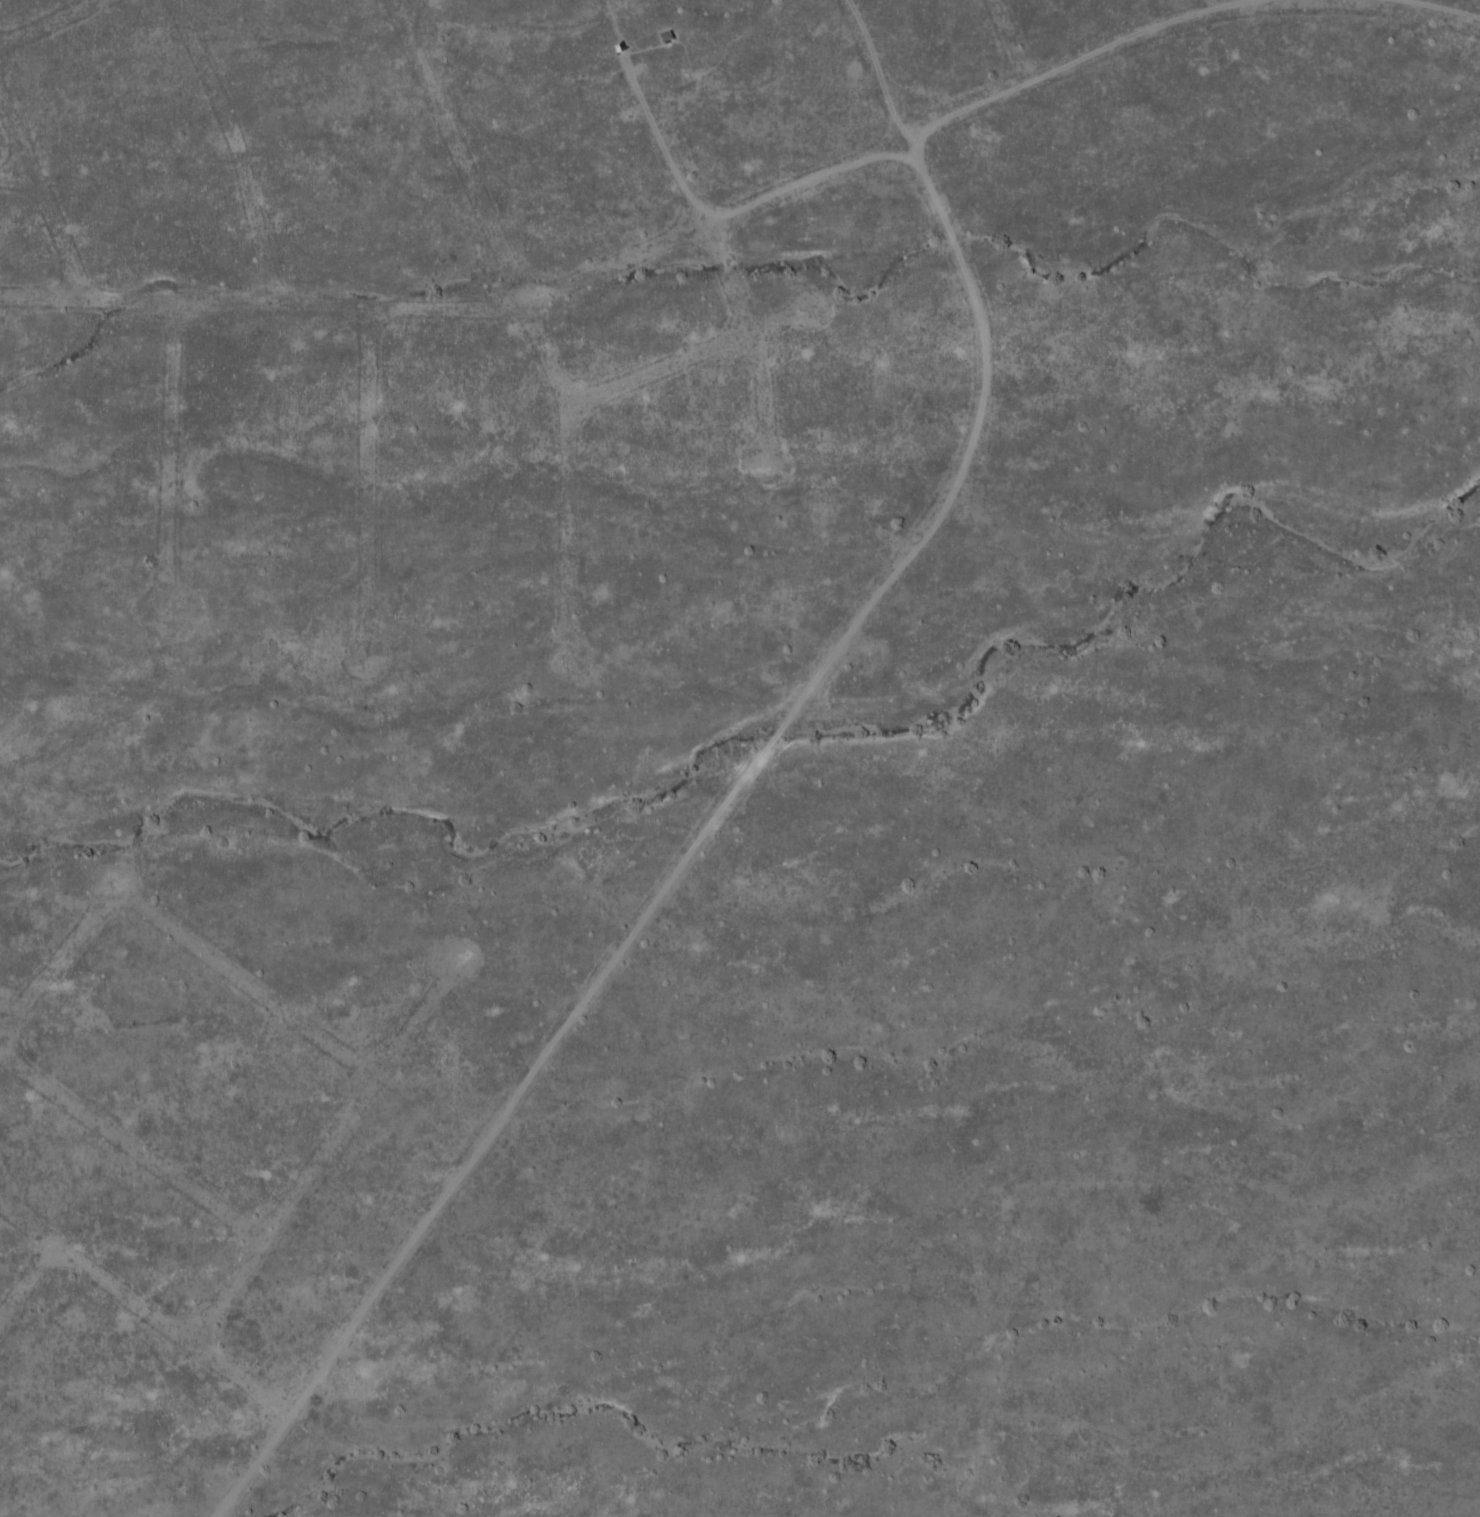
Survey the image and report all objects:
road: (1237, 1470)

